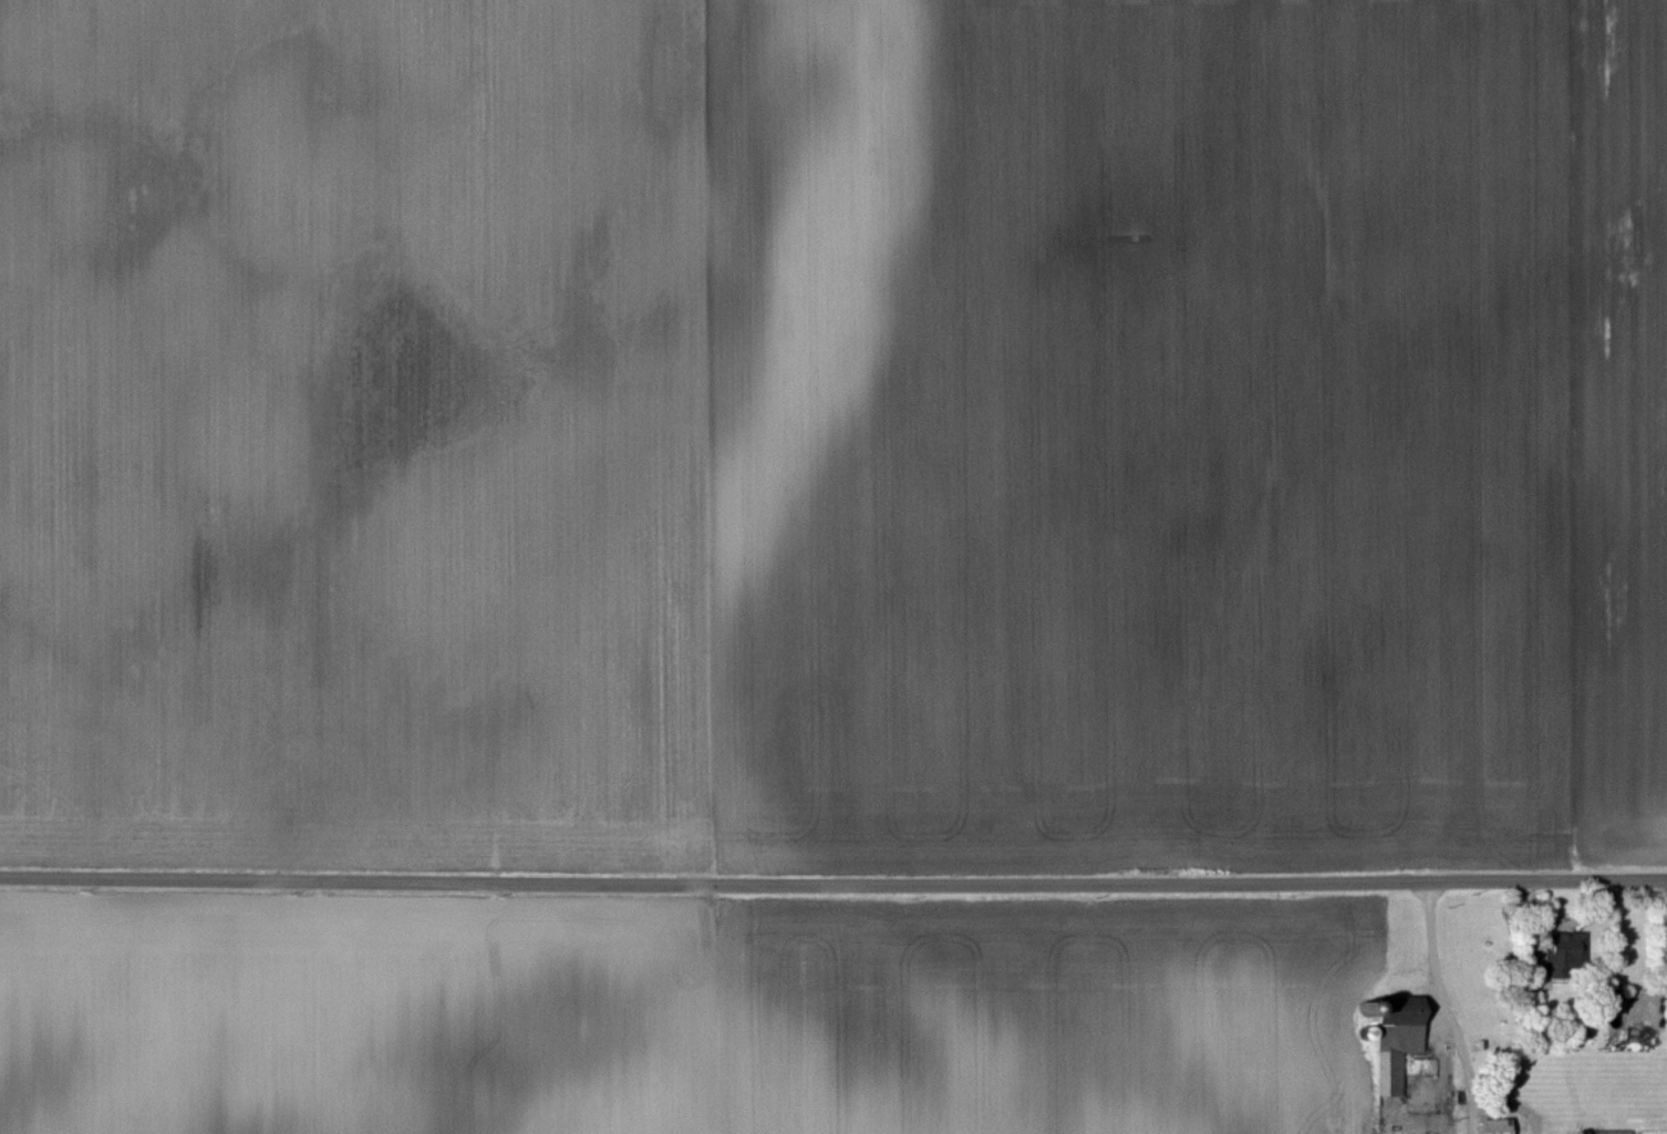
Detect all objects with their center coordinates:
road: (832, 887)
building: (1564, 953)
road: (1437, 975)
building: (1396, 1038)
building: (1495, 1125)
building: (1611, 1131)

